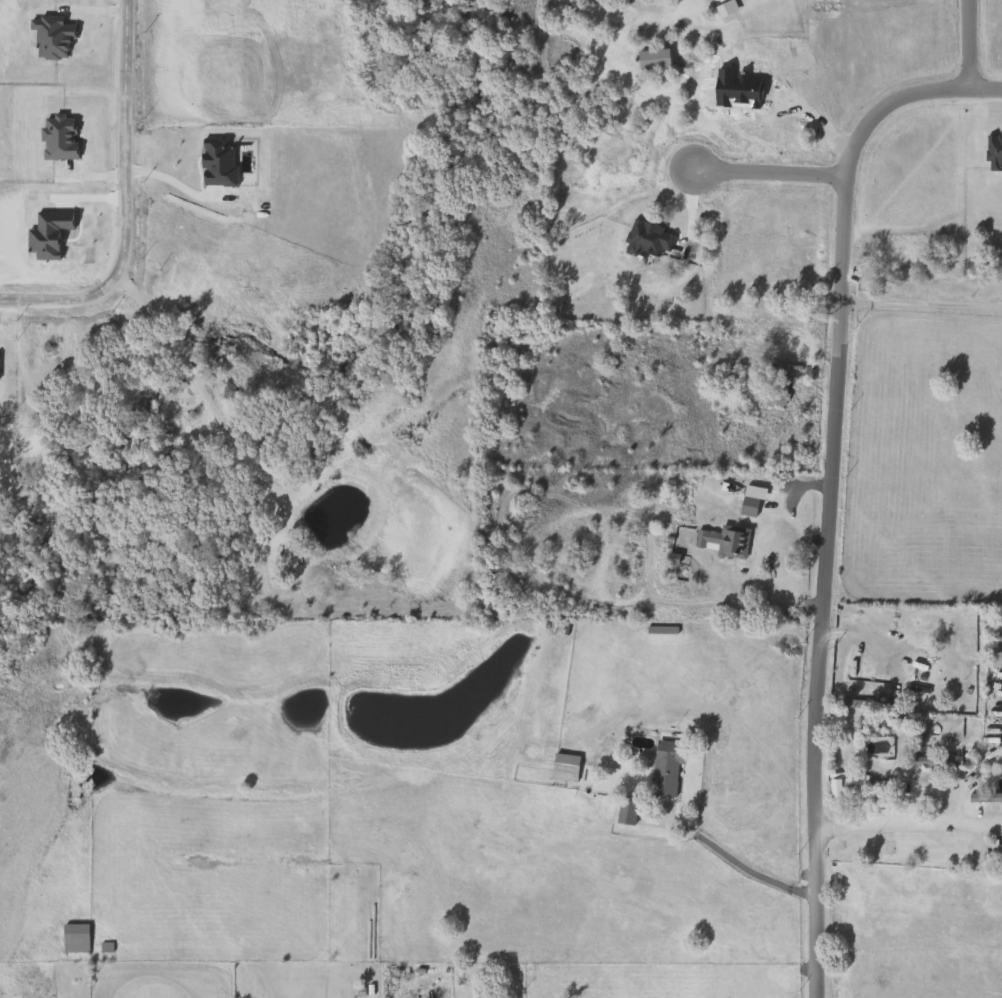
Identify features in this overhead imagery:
road: (972, 47)
building: (649, 59)
road: (862, 148)
road: (774, 175)
road: (116, 198)
road: (922, 303)
building: (774, 384)
building: (745, 507)
building: (721, 542)
road: (815, 652)
building: (916, 664)
building: (934, 762)
building: (561, 768)
building: (662, 769)
building: (897, 787)
building: (843, 789)
building: (983, 798)
building: (623, 811)
road: (908, 822)
building: (991, 854)
road: (735, 864)
building: (72, 938)

